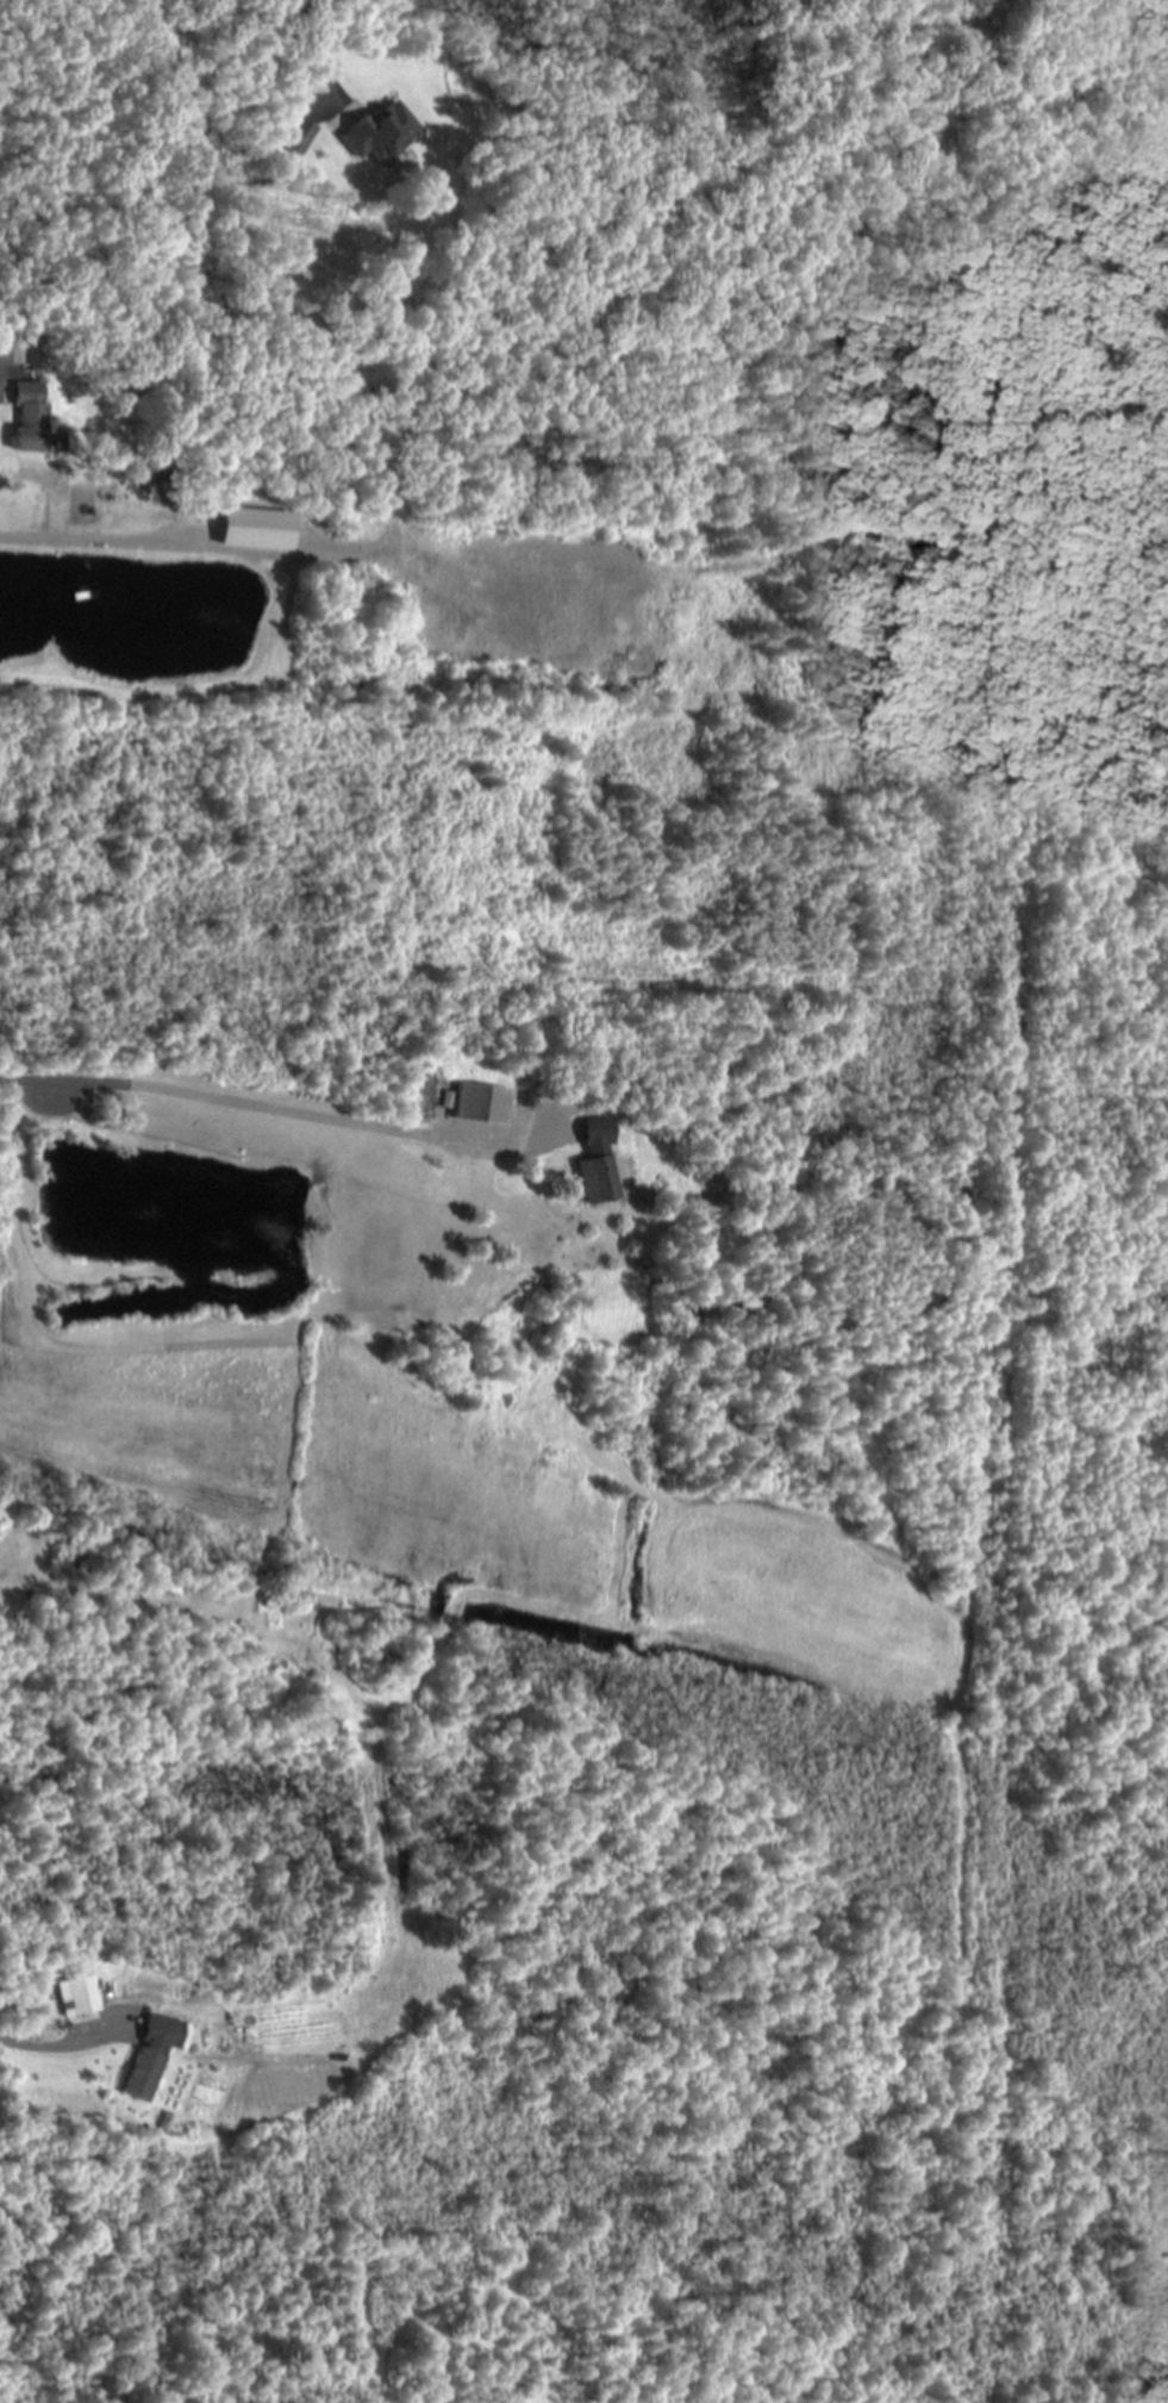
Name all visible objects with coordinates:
road: (316, 58)
building: (380, 133)
building: (298, 135)
building: (11, 344)
building: (258, 528)
road: (154, 546)
road: (239, 1101)
building: (482, 1104)
building: (598, 1163)
building: (76, 1993)
road: (44, 2048)
building: (154, 2054)

